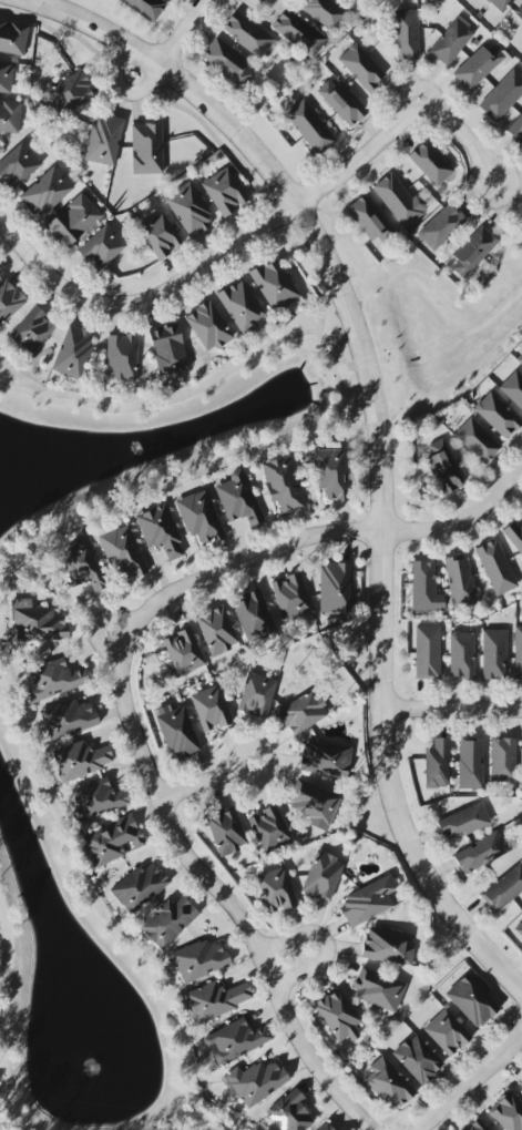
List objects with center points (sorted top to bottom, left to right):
building: (500, 4)
building: (145, 8)
building: (325, 13)
building: (519, 13)
road: (178, 33)
building: (298, 33)
building: (247, 34)
building: (406, 34)
building: (12, 38)
building: (450, 41)
building: (227, 61)
building: (360, 67)
building: (478, 67)
building: (6, 77)
building: (66, 94)
building: (502, 96)
building: (341, 102)
building: (9, 115)
building: (309, 126)
building: (515, 130)
road: (456, 136)
building: (103, 140)
building: (146, 149)
building: (430, 163)
building: (18, 165)
building: (45, 192)
building: (224, 192)
building: (399, 201)
building: (188, 210)
road: (274, 215)
building: (369, 220)
building: (72, 221)
building: (441, 227)
building: (158, 235)
building: (101, 247)
building: (472, 252)
road: (47, 272)
building: (275, 286)
building: (9, 301)
building: (242, 307)
building: (207, 327)
building: (32, 330)
building: (167, 350)
building: (73, 353)
building: (121, 357)
building: (519, 359)
building: (513, 389)
building: (497, 415)
road: (380, 438)
building: (477, 440)
fountain: (150, 441)
building: (443, 468)
building: (330, 474)
building: (283, 483)
building: (238, 499)
building: (199, 517)
building: (158, 530)
road: (325, 535)
building: (514, 537)
building: (122, 552)
building: (495, 568)
building: (459, 580)
building: (334, 588)
building: (424, 588)
building: (289, 597)
building: (253, 617)
building: (35, 622)
building: (216, 631)
building: (183, 652)
building: (427, 652)
building: (518, 653)
building: (461, 654)
building: (493, 654)
building: (52, 680)
building: (256, 694)
road: (450, 707)
building: (211, 709)
building: (301, 713)
building: (66, 719)
building: (176, 732)
building: (325, 759)
building: (502, 760)
building: (80, 761)
building: (470, 763)
building: (437, 764)
road: (203, 780)
building: (95, 800)
building: (313, 803)
building: (462, 822)
building: (268, 827)
building: (225, 832)
building: (111, 841)
building: (480, 853)
building: (321, 876)
building: (139, 887)
road: (217, 889)
building: (503, 889)
building: (275, 890)
building: (367, 902)
building: (168, 922)
building: (519, 929)
building: (388, 946)
road: (324, 949)
building: (198, 960)
building: (378, 990)
building: (216, 1000)
building: (471, 1001)
building: (338, 1016)
building: (446, 1032)
building: (236, 1040)
building: (417, 1059)
fountain: (94, 1063)
road: (471, 1081)
building: (255, 1082)
building: (520, 1082)
building: (387, 1085)
building: (289, 1112)
building: (506, 1112)
building: (477, 1126)
building: (325, 1127)

